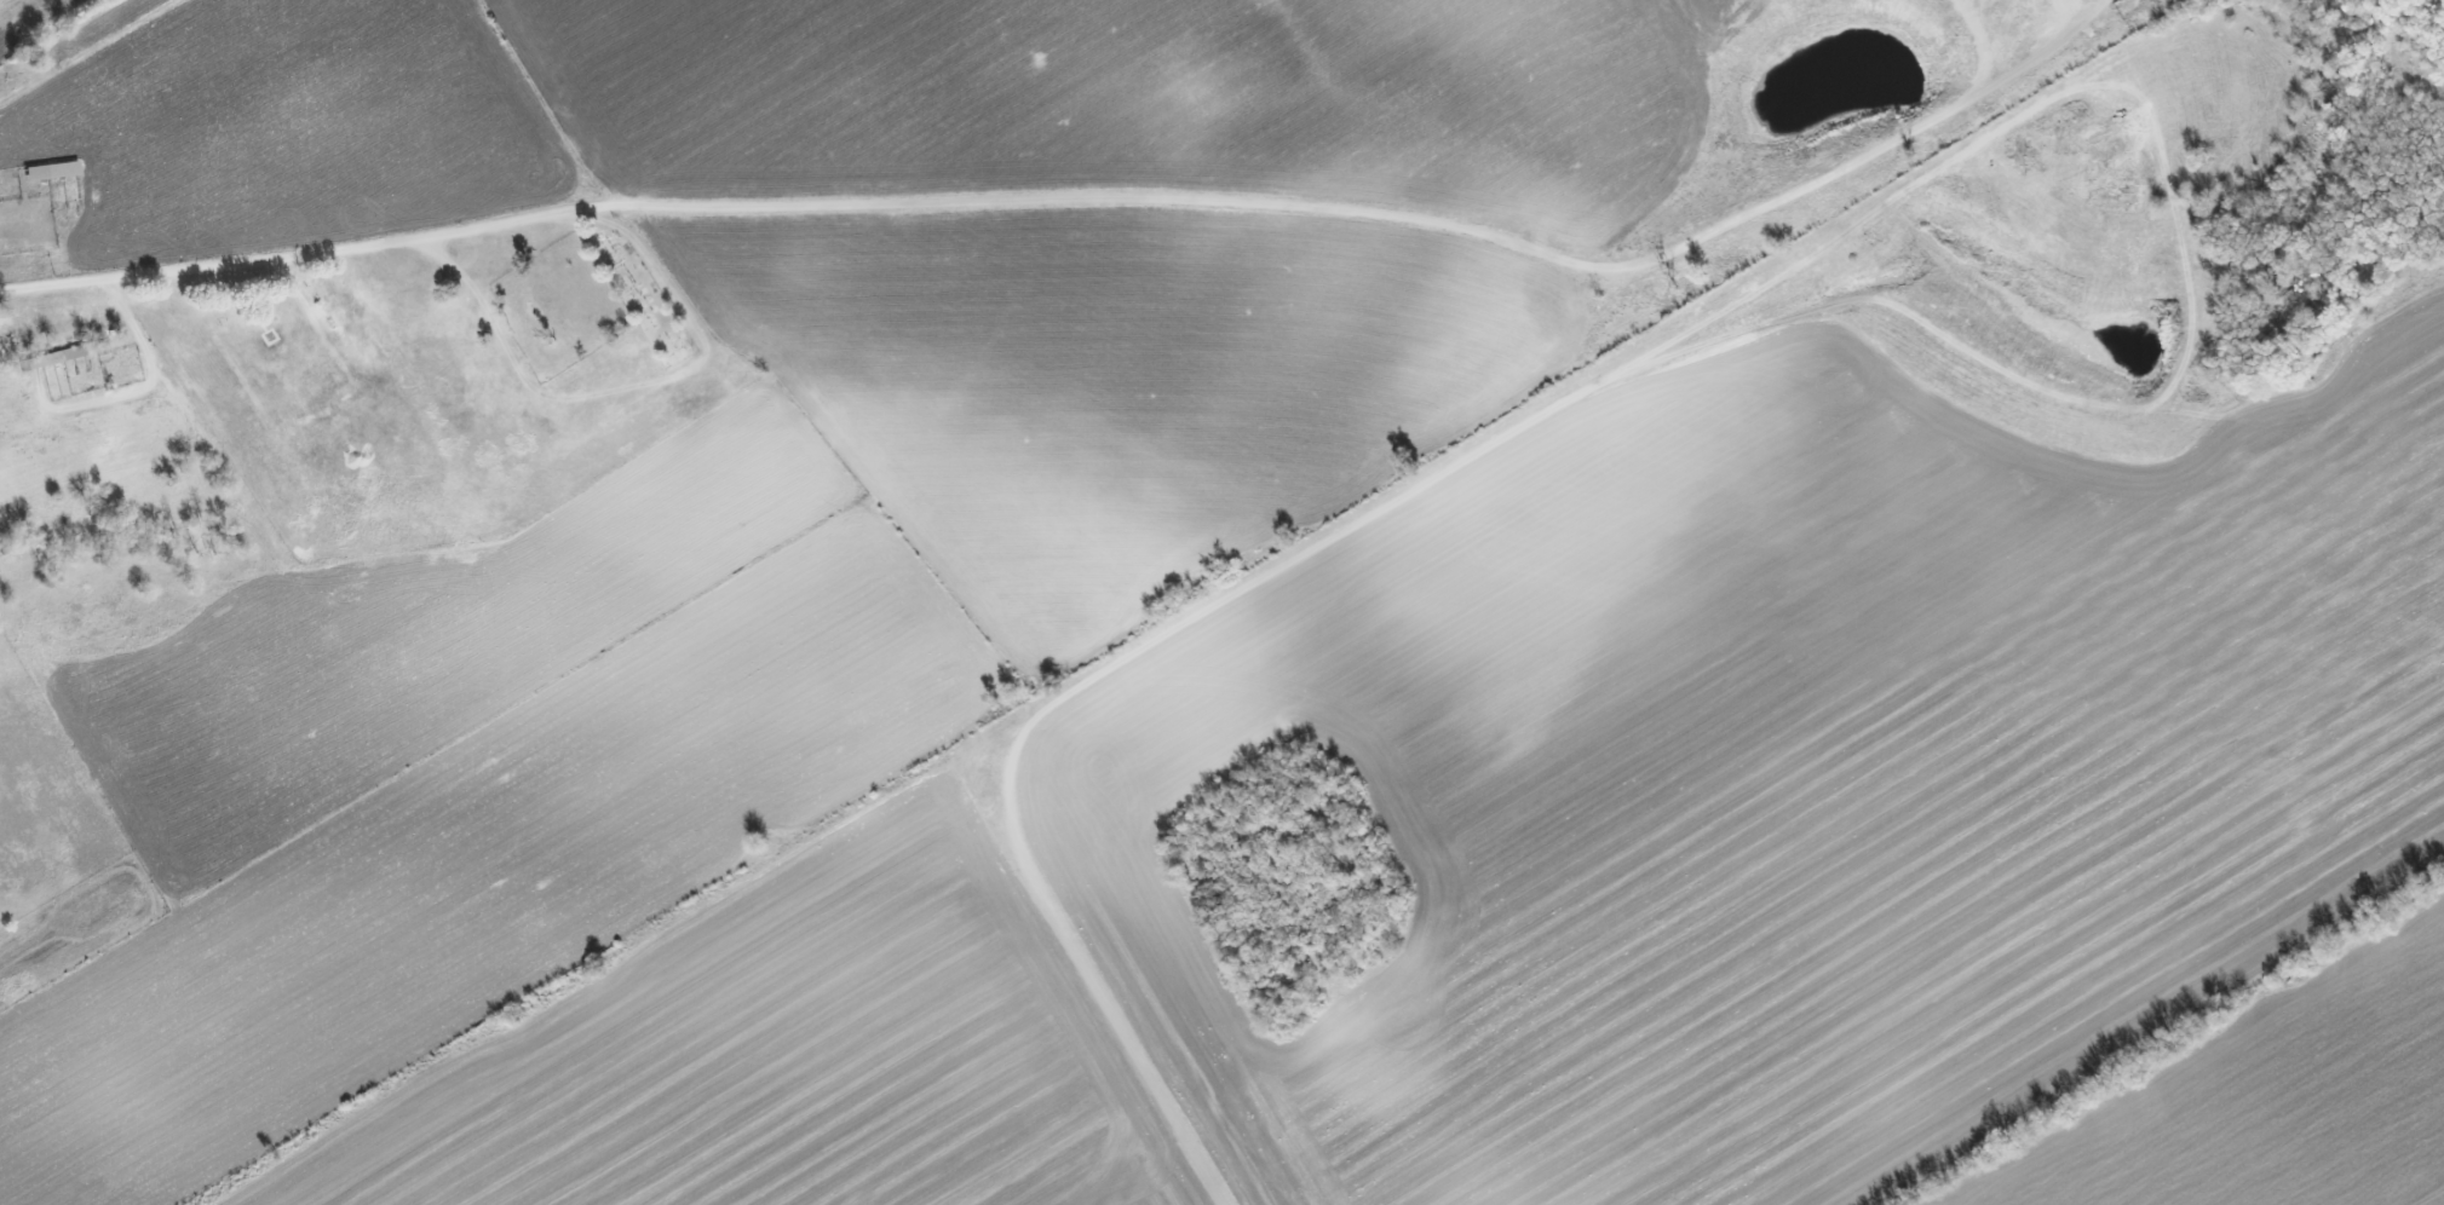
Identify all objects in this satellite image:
crop: (1149, 98)
crop: (289, 126)
road: (1088, 197)
crop: (1120, 384)
crop: (448, 783)

